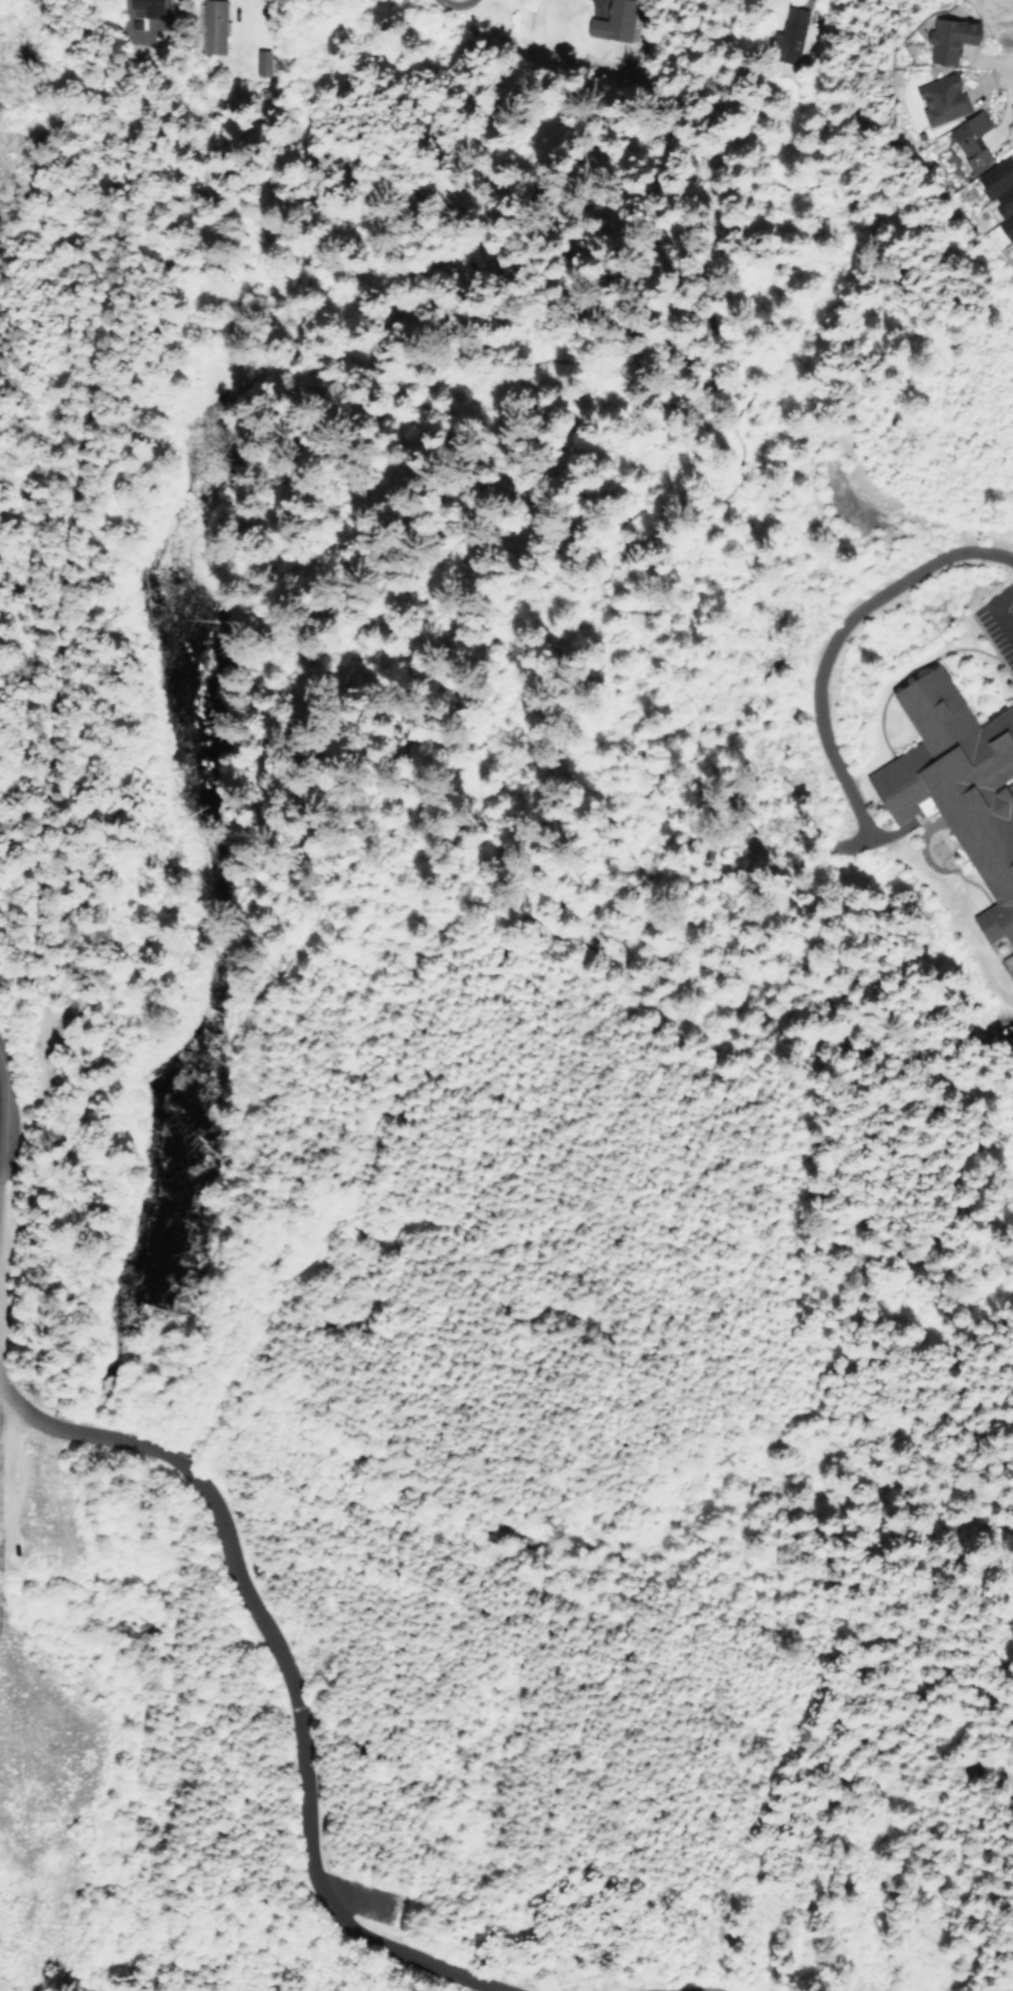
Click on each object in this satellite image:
building: (151, 8)
building: (212, 26)
building: (946, 40)
road: (1011, 70)
building: (937, 100)
building: (1012, 124)
building: (967, 141)
building: (993, 178)
road: (790, 179)
building: (1002, 200)
building: (1004, 226)
building: (1012, 240)
road: (706, 327)
park: (395, 548)
road: (995, 611)
parking lot: (998, 622)
road: (828, 638)
building: (957, 787)
road: (858, 843)
road: (11, 964)
building: (1012, 983)
road: (371, 1092)
road: (80, 1187)
road: (2, 1398)
road: (282, 1669)
road: (689, 1989)

